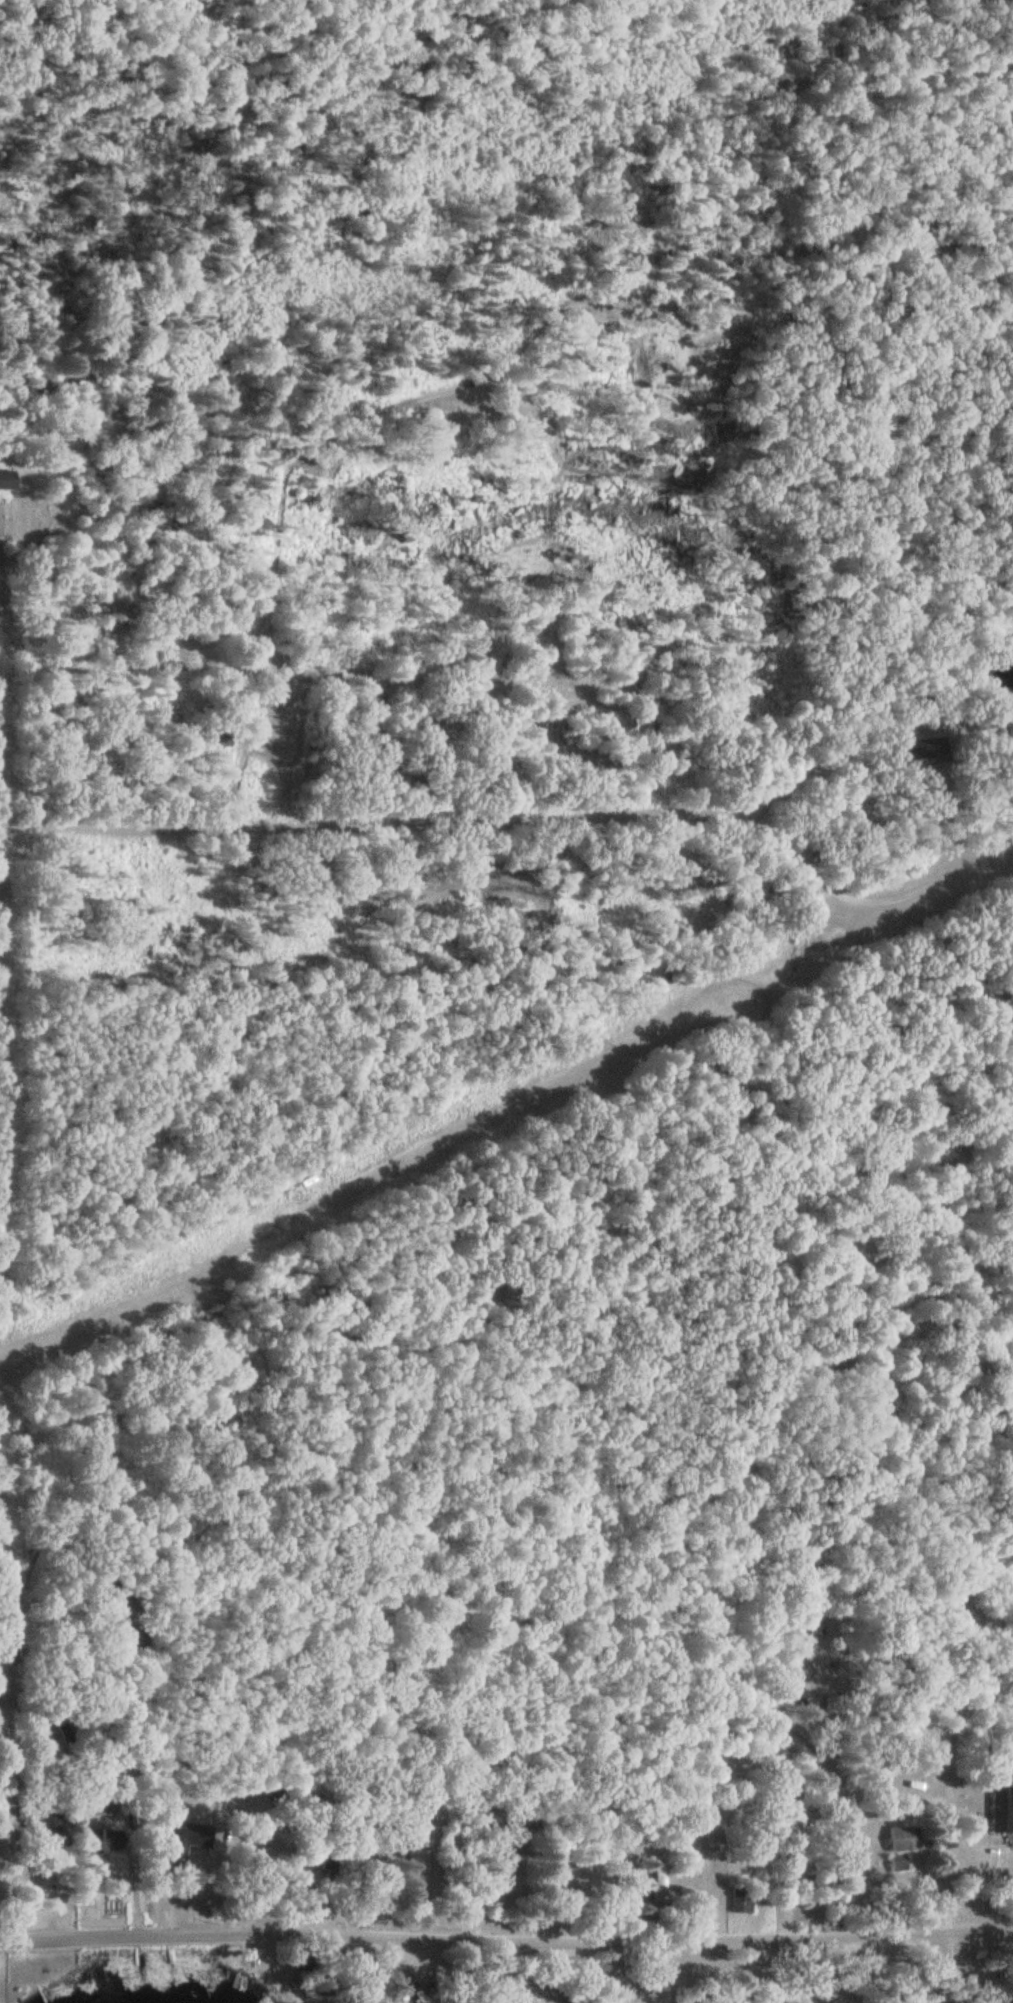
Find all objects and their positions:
road: (8, 1713)
building: (3, 1733)
road: (827, 1749)
building: (726, 1763)
building: (36, 1815)
building: (906, 1838)
building: (330, 1873)
building: (659, 1893)
building: (742, 1900)
road: (506, 1939)
road: (969, 1971)

